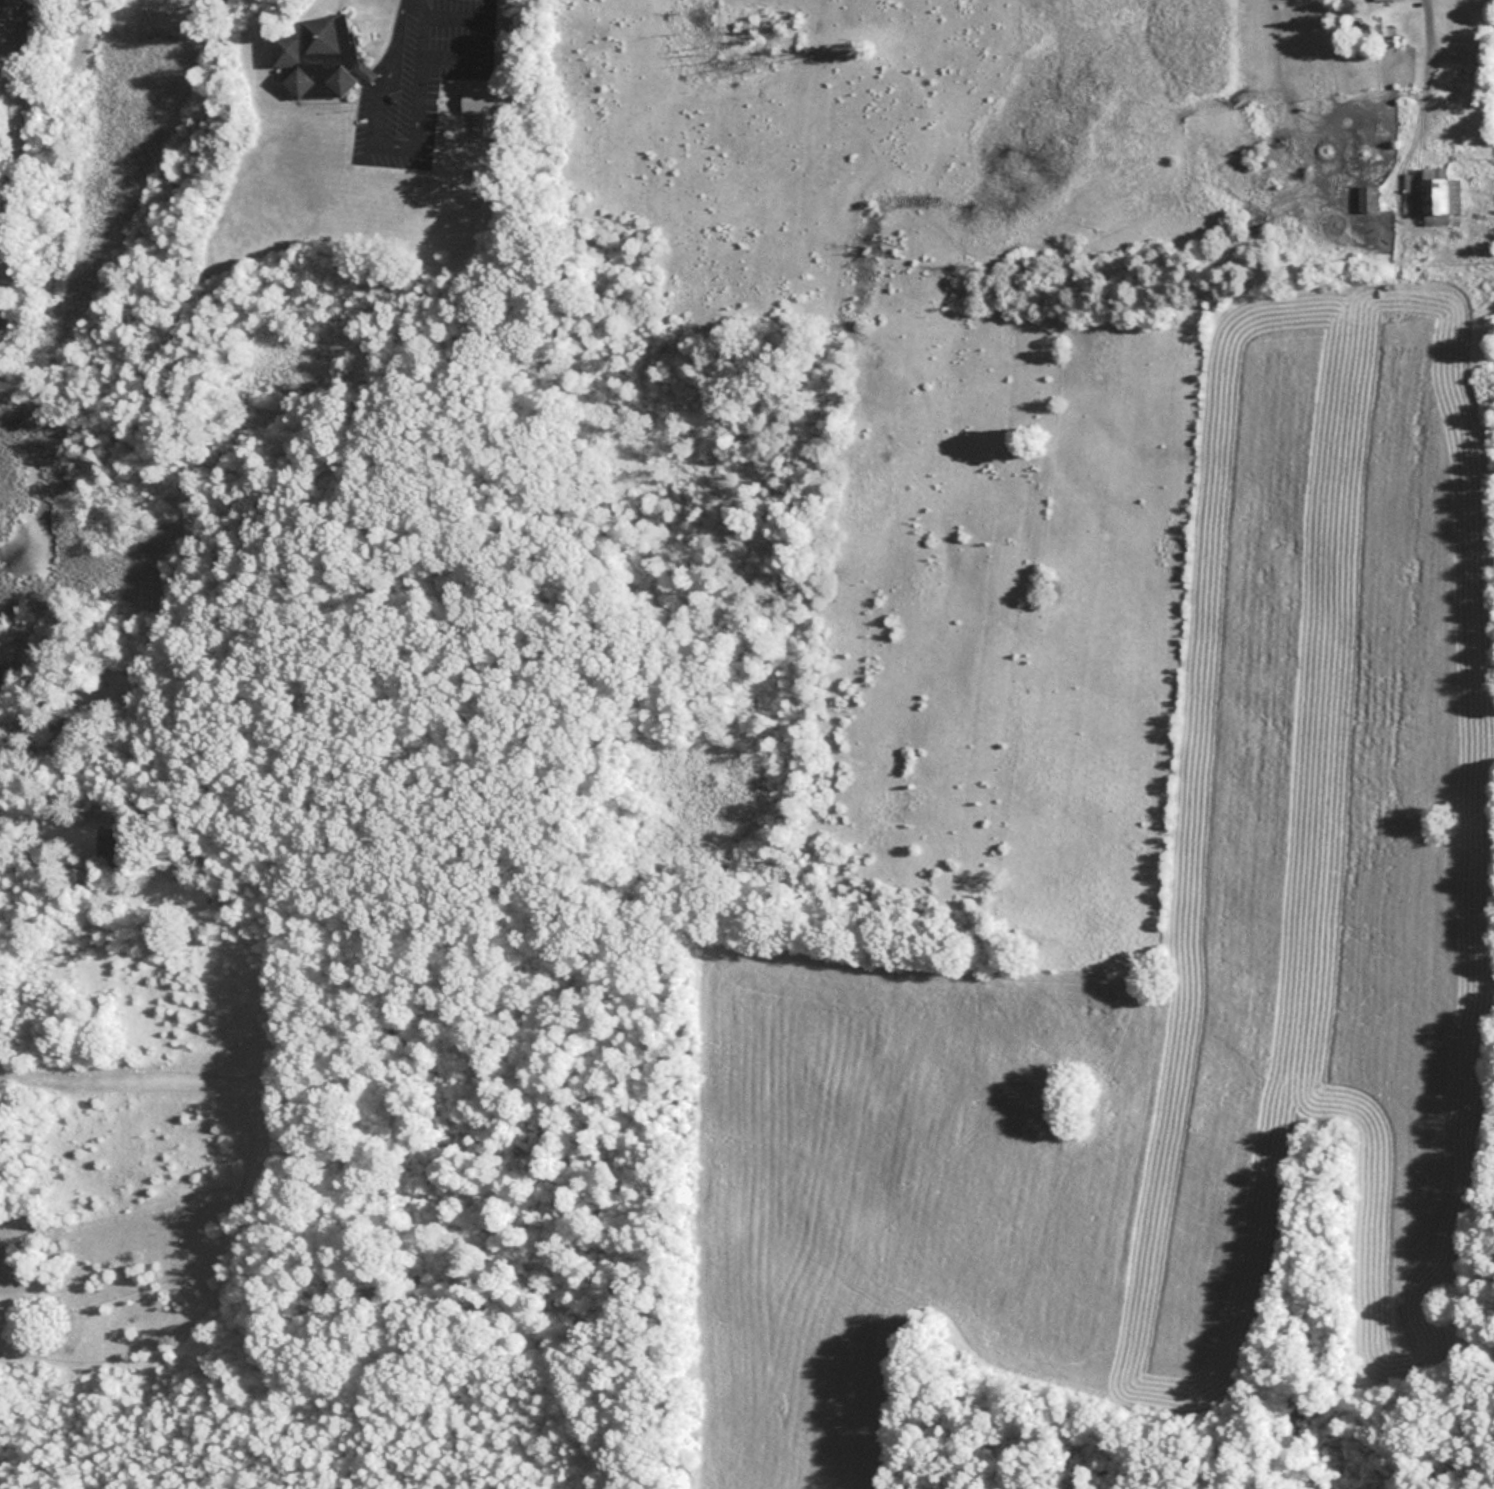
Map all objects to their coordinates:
road: (452, 15)
road: (420, 26)
building: (319, 57)
road: (479, 57)
road: (1421, 76)
building: (481, 111)
road: (368, 132)
road: (10, 140)
building: (1435, 193)
road: (50, 811)
building: (112, 843)
building: (175, 863)

